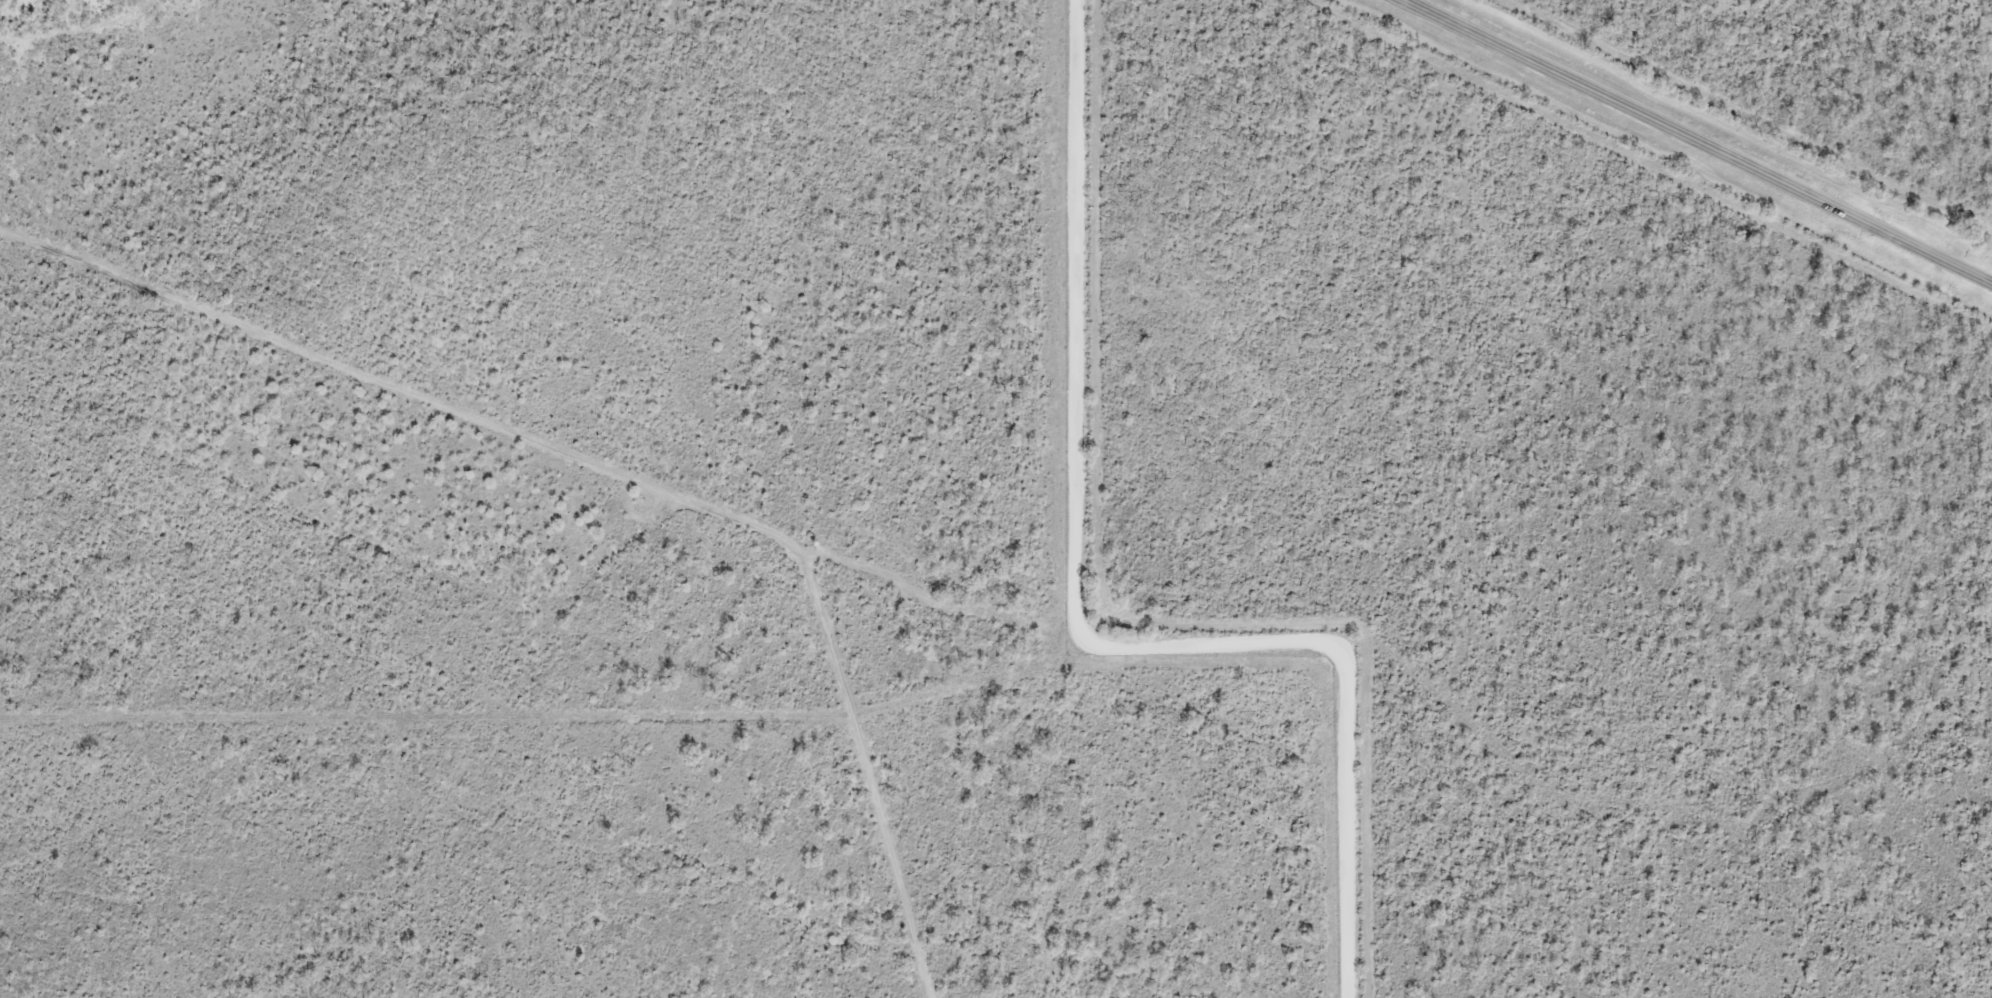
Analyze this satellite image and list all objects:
road: (1702, 138)
road: (1076, 283)
road: (1342, 659)

